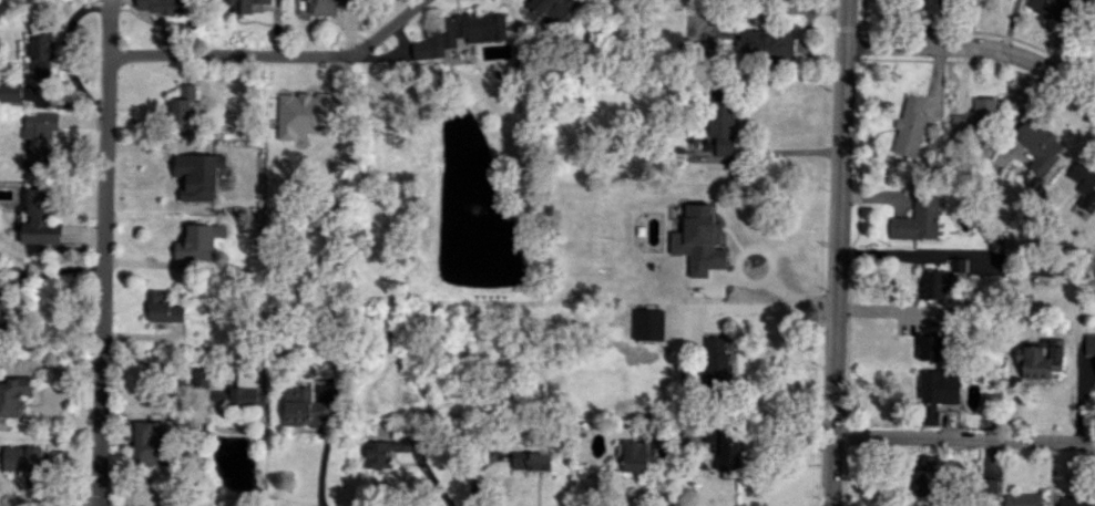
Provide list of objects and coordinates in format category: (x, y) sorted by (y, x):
building: (245, 6)
building: (161, 7)
building: (549, 9)
building: (1054, 9)
building: (459, 33)
building: (765, 45)
road: (980, 48)
road: (65, 52)
building: (40, 55)
road: (274, 58)
building: (10, 93)
road: (62, 103)
building: (182, 103)
building: (304, 116)
building: (722, 117)
building: (975, 122)
road: (88, 124)
building: (910, 126)
building: (39, 141)
building: (1037, 146)
building: (197, 176)
building: (1084, 186)
building: (38, 220)
building: (915, 221)
building: (698, 240)
building: (198, 242)
road: (840, 252)
road: (103, 254)
building: (975, 264)
building: (933, 283)
building: (1, 302)
road: (772, 307)
building: (162, 308)
building: (648, 324)
building: (930, 341)
building: (1088, 344)
building: (716, 362)
building: (1036, 362)
building: (198, 379)
building: (935, 393)
building: (245, 394)
building: (12, 395)
building: (218, 395)
building: (303, 409)
road: (965, 440)
building: (149, 443)
building: (724, 446)
building: (385, 451)
building: (635, 457)
building: (531, 461)
building: (927, 463)
building: (24, 464)
building: (924, 484)
building: (990, 486)
building: (1023, 499)
building: (1076, 500)

